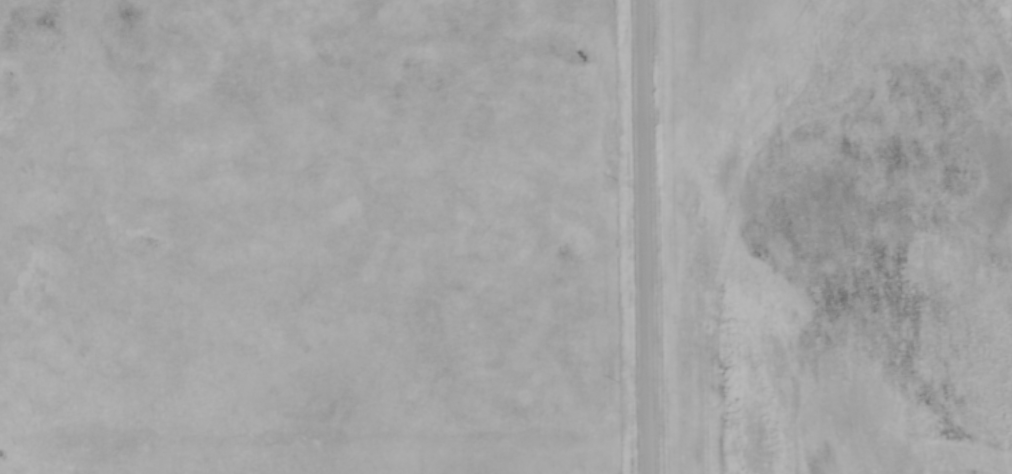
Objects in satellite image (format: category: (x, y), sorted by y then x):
road: (647, 237)

